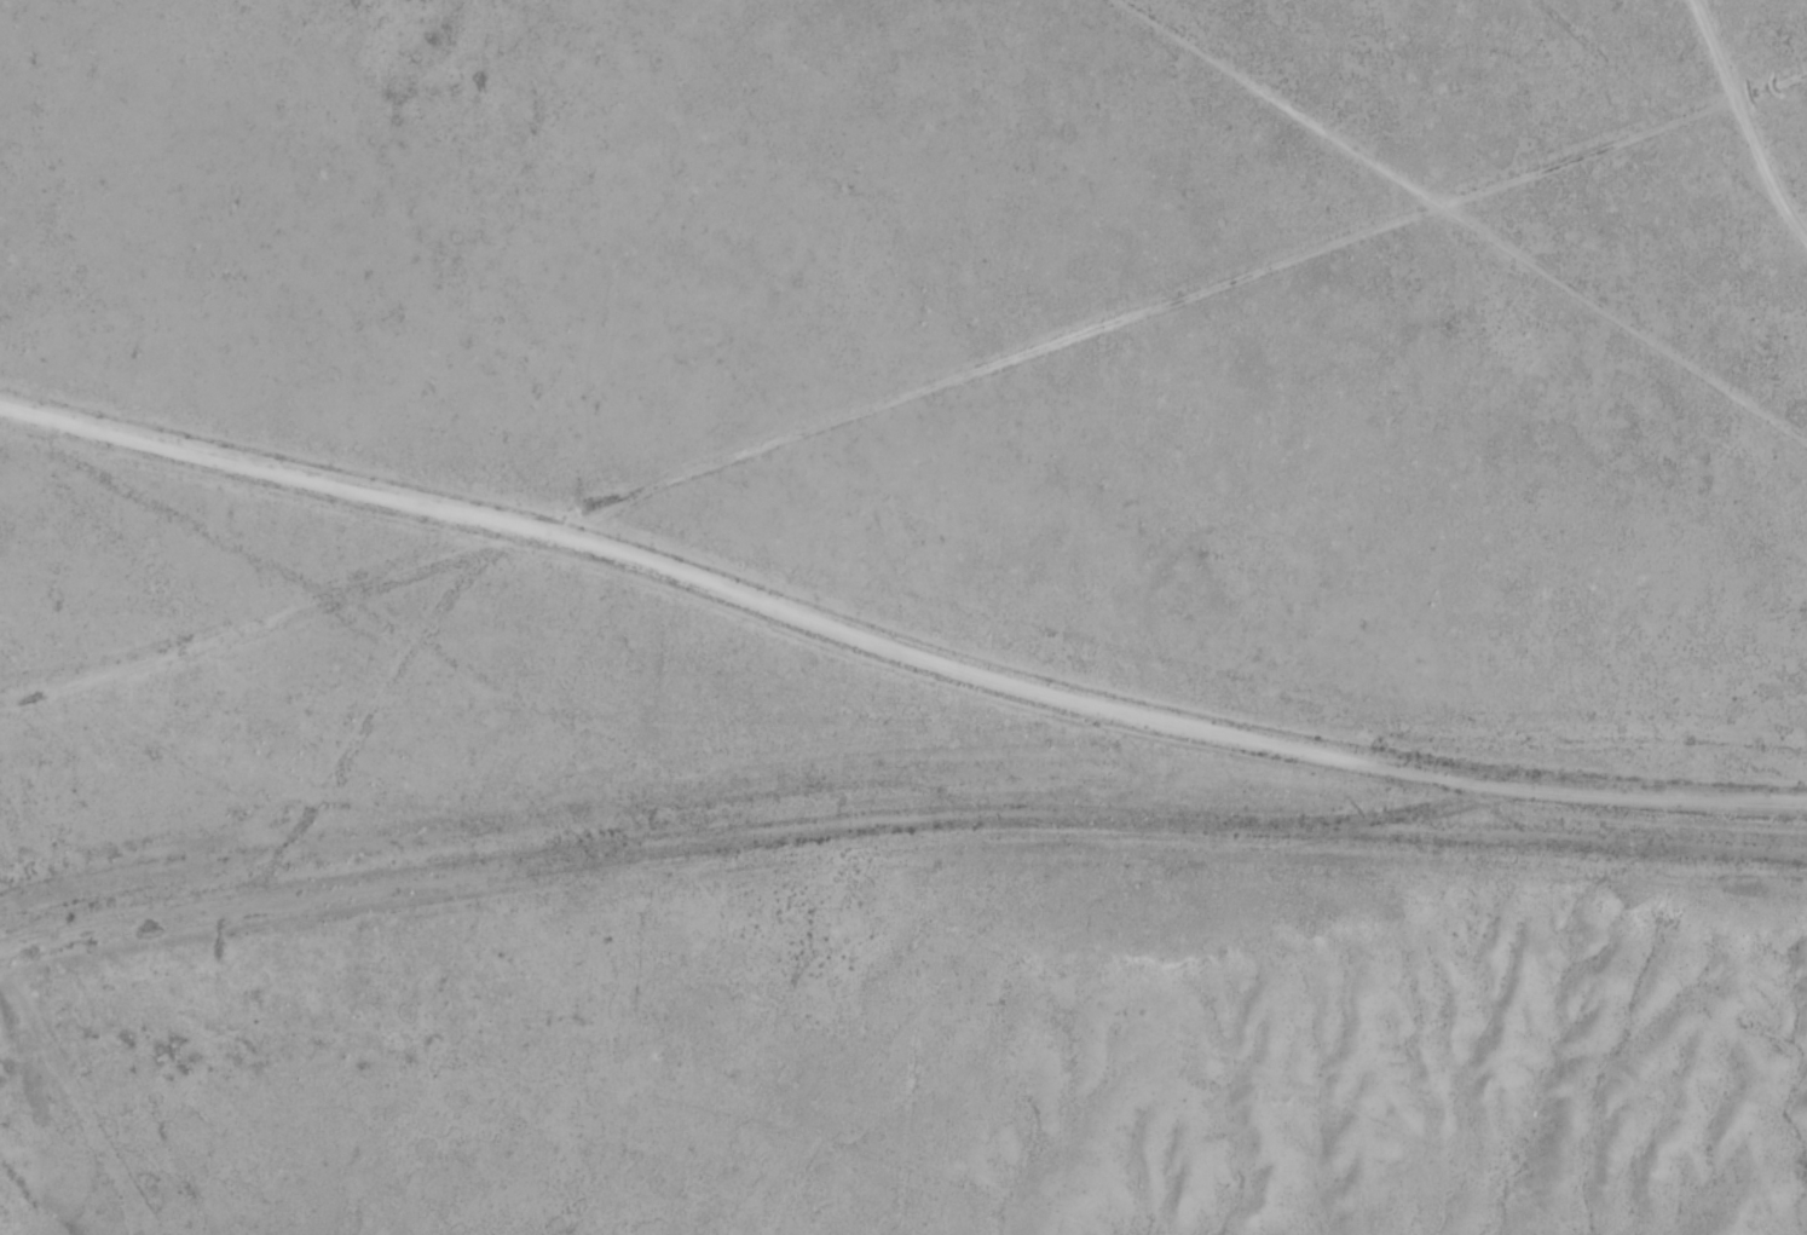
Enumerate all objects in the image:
road: (1160, 119)
road: (1483, 323)
road: (911, 365)
road: (1141, 687)

